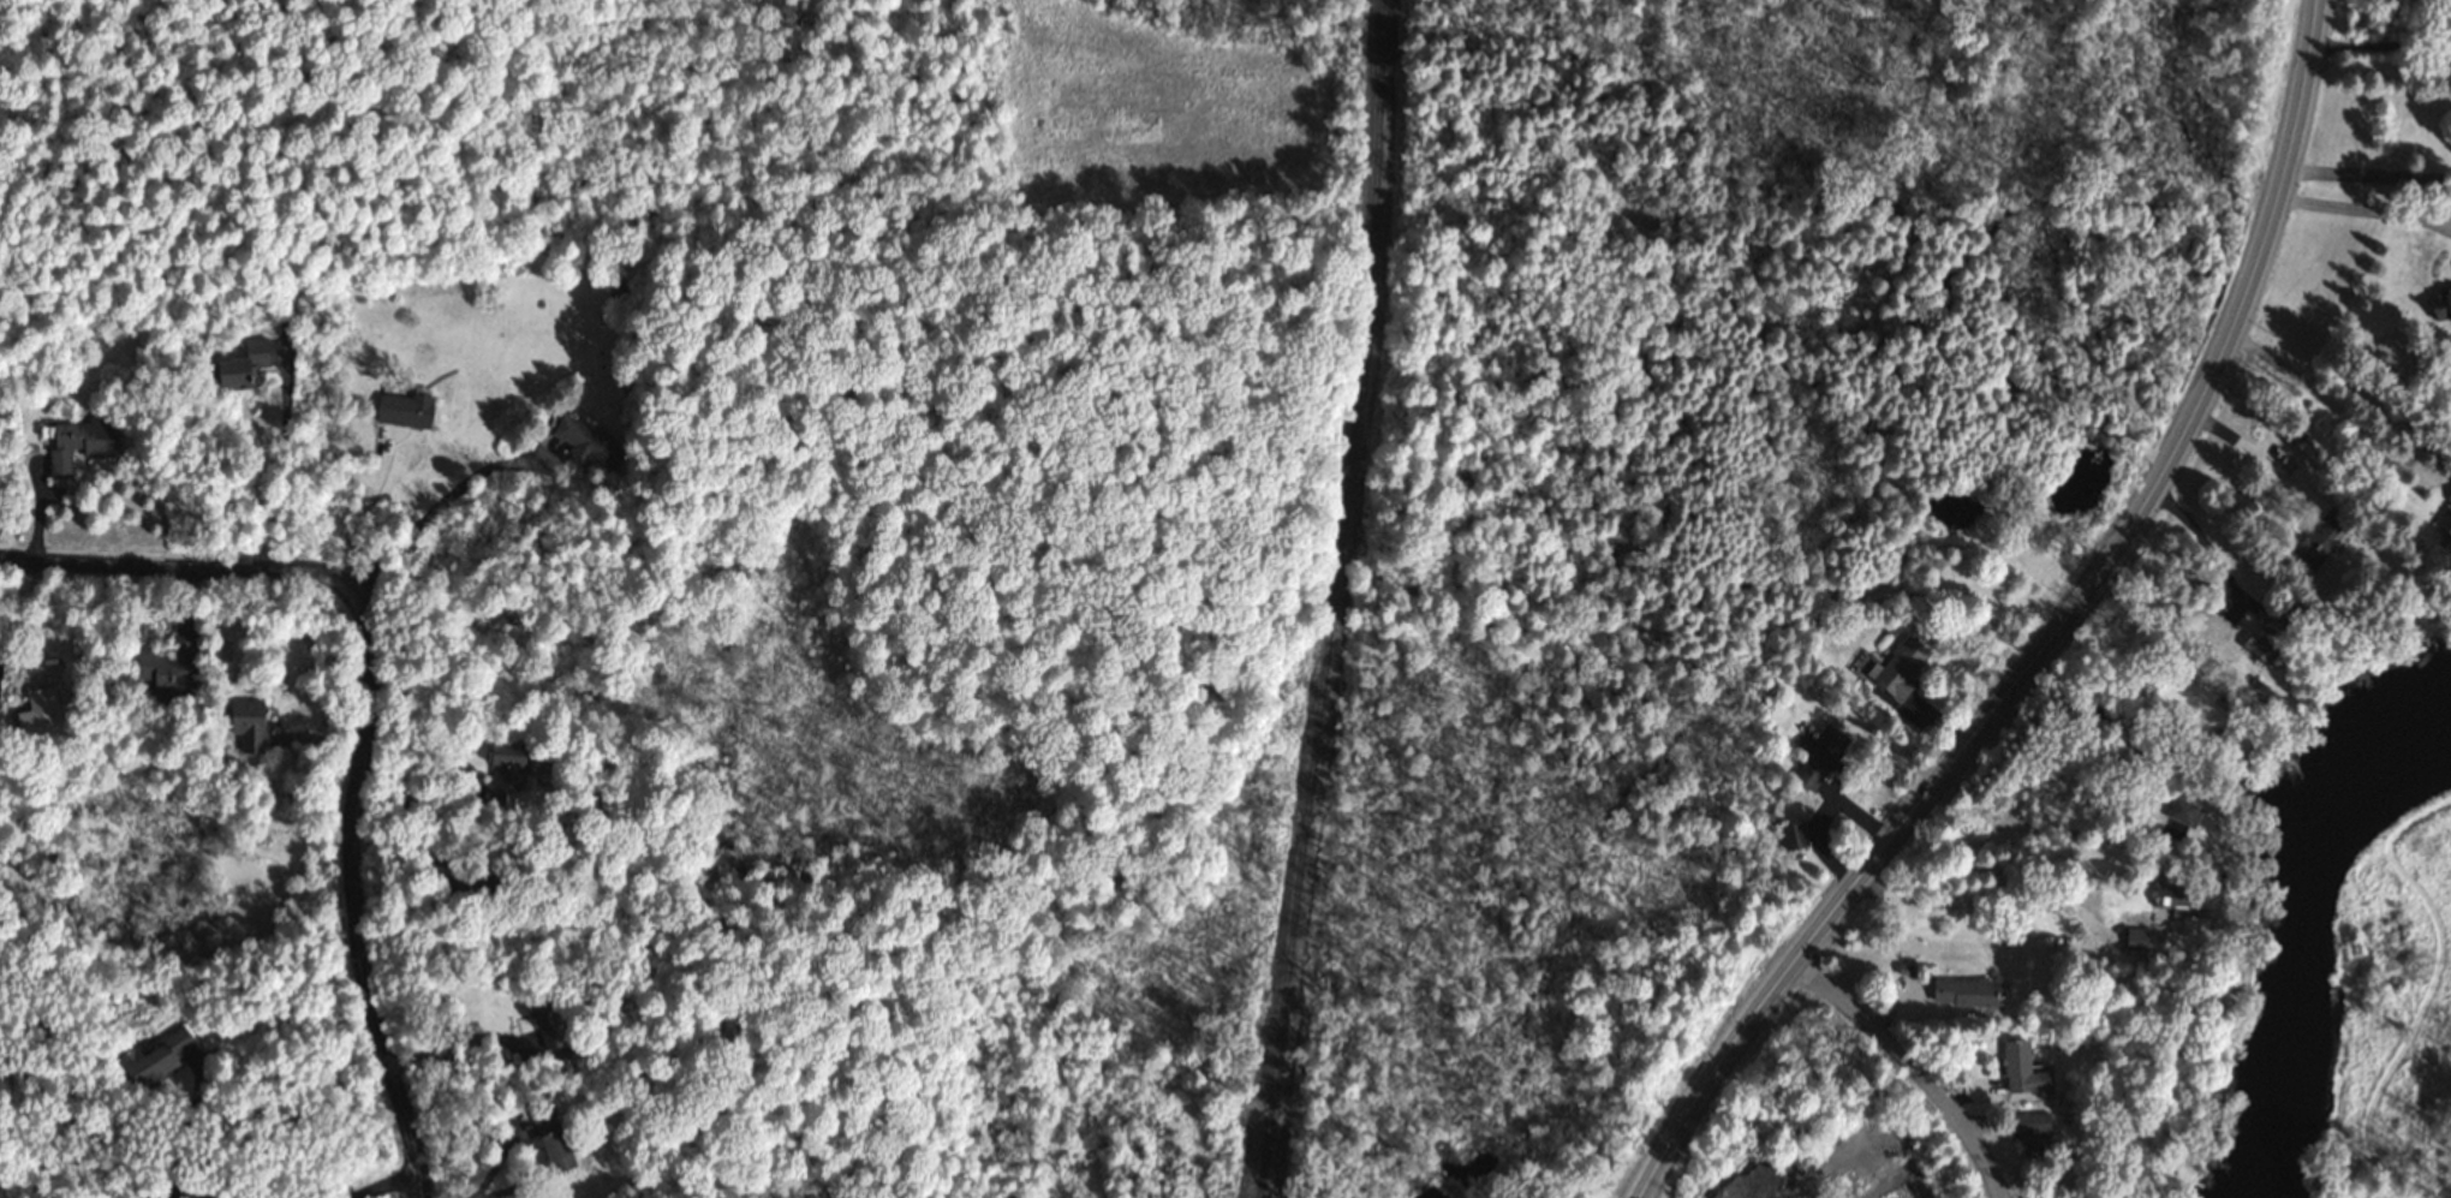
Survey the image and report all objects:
road: (2377, 46)
road: (2366, 174)
road: (2362, 213)
building: (2441, 310)
building: (241, 366)
road: (2327, 406)
building: (404, 412)
building: (78, 446)
building: (589, 446)
road: (2253, 455)
road: (286, 463)
road: (434, 508)
road: (363, 512)
building: (2441, 531)
road: (2200, 538)
building: (2319, 541)
railway: (1330, 600)
road: (2045, 634)
building: (2265, 637)
building: (1900, 669)
building: (166, 670)
building: (40, 719)
road: (369, 720)
building: (248, 726)
building: (1819, 758)
building: (503, 774)
road: (469, 783)
building: (2183, 813)
building: (1793, 838)
building: (440, 874)
road: (1976, 893)
building: (2170, 896)
river: (2312, 919)
building: (2135, 942)
building: (1964, 995)
building: (545, 1024)
road: (452, 1043)
building: (155, 1060)
road: (1912, 1062)
building: (2021, 1071)
building: (2029, 1130)
road: (185, 1131)
building: (551, 1140)
road: (394, 1187)

